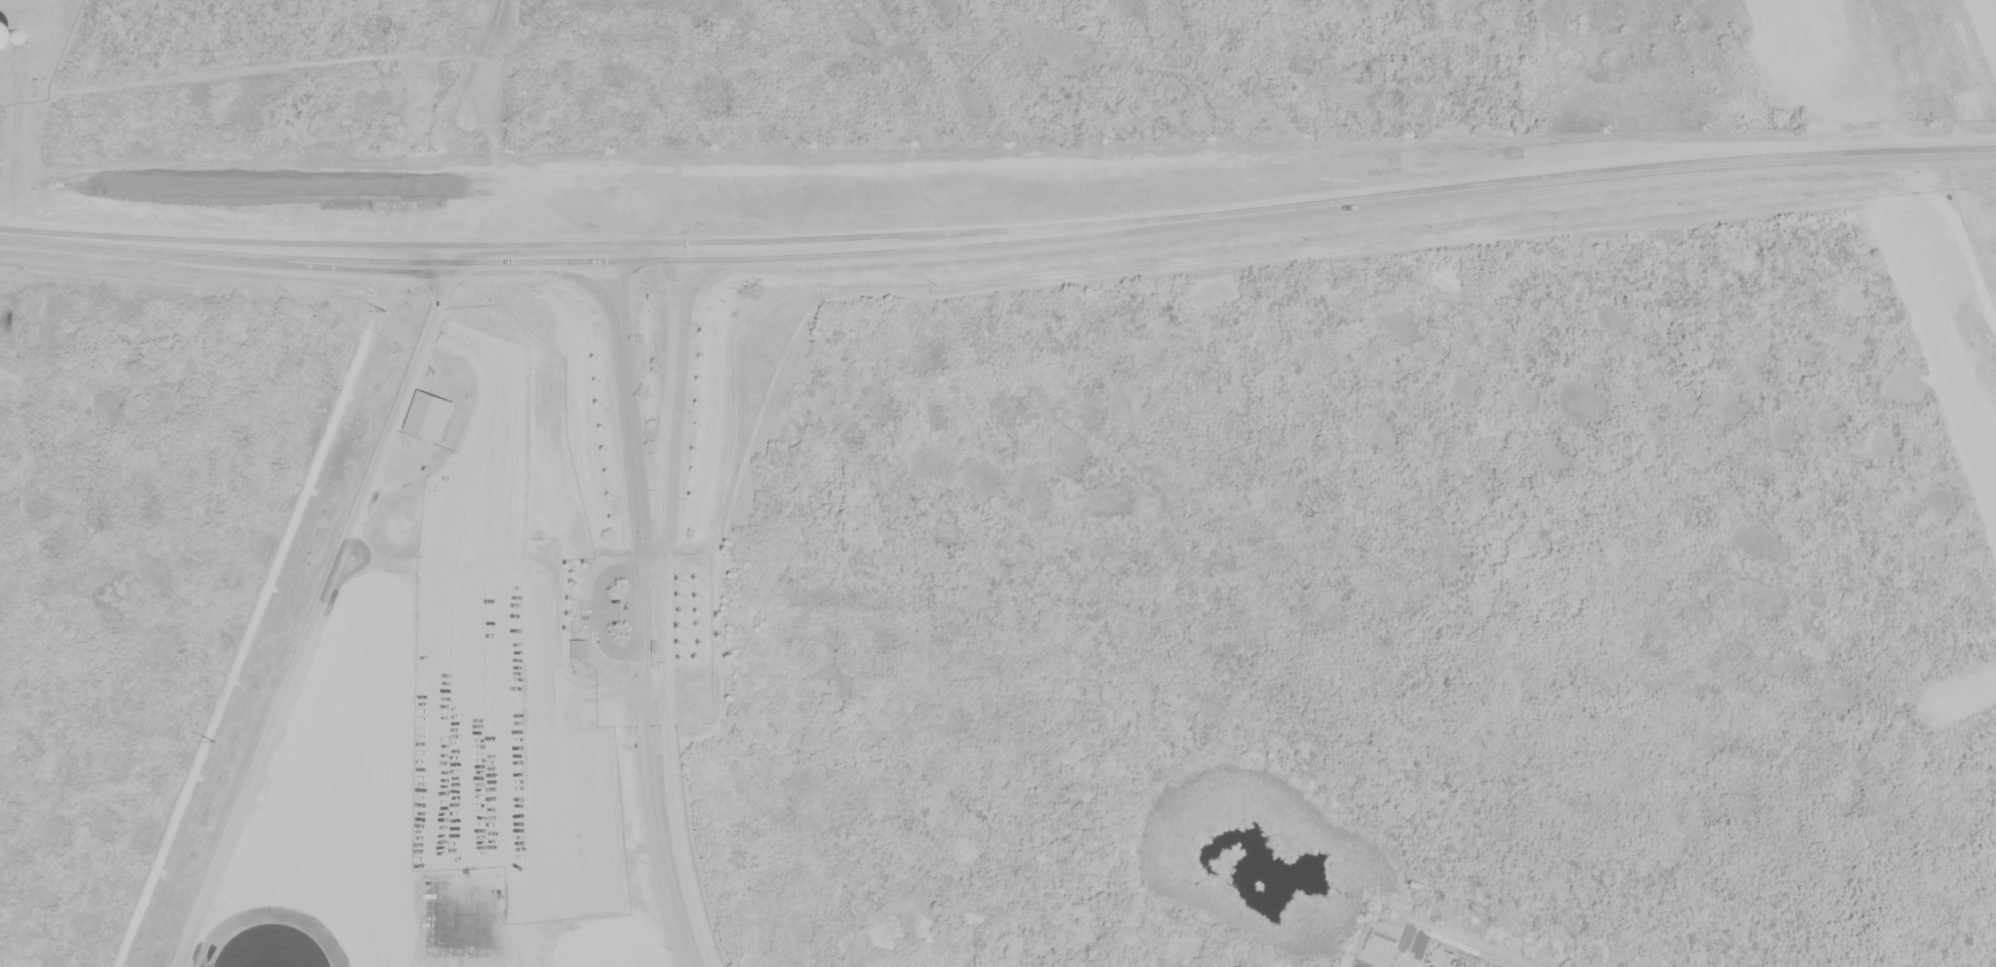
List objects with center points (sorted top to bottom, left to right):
water tower: (23, 33)
road: (17, 145)
road: (999, 238)
road: (649, 249)
building: (431, 415)
road: (259, 610)
building: (582, 650)
helipad: (467, 916)

